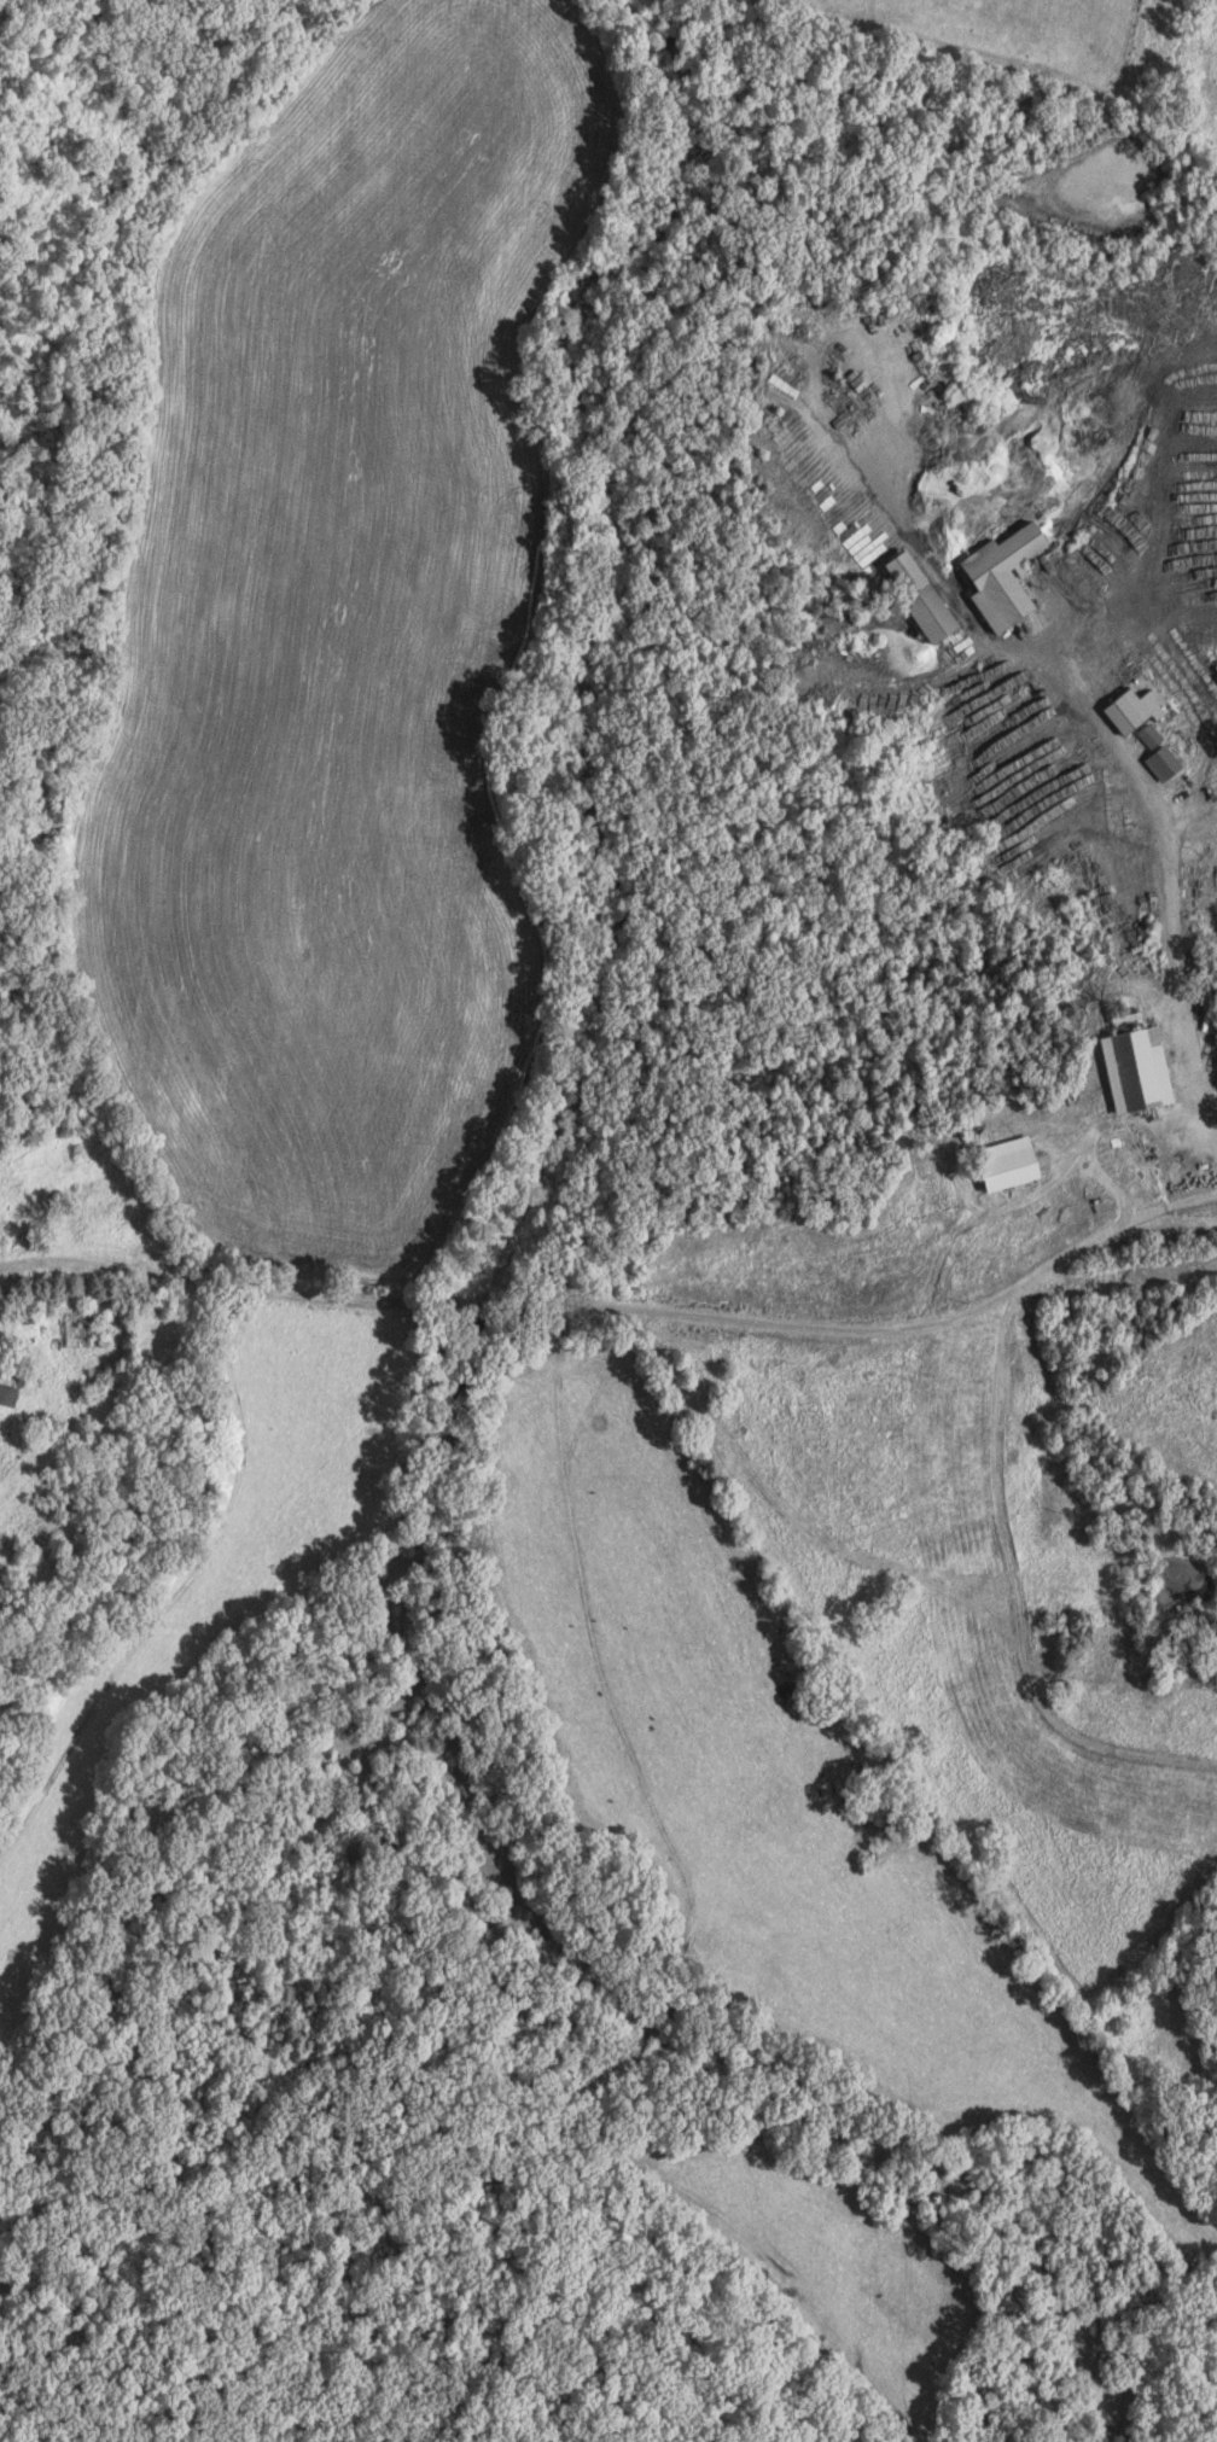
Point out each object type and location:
building: (1014, 577)
building: (931, 596)
building: (1142, 710)
building: (1159, 735)
building: (1172, 763)
road: (1178, 974)
building: (1147, 1070)
building: (1018, 1162)
road: (875, 1335)
building: (12, 1393)

